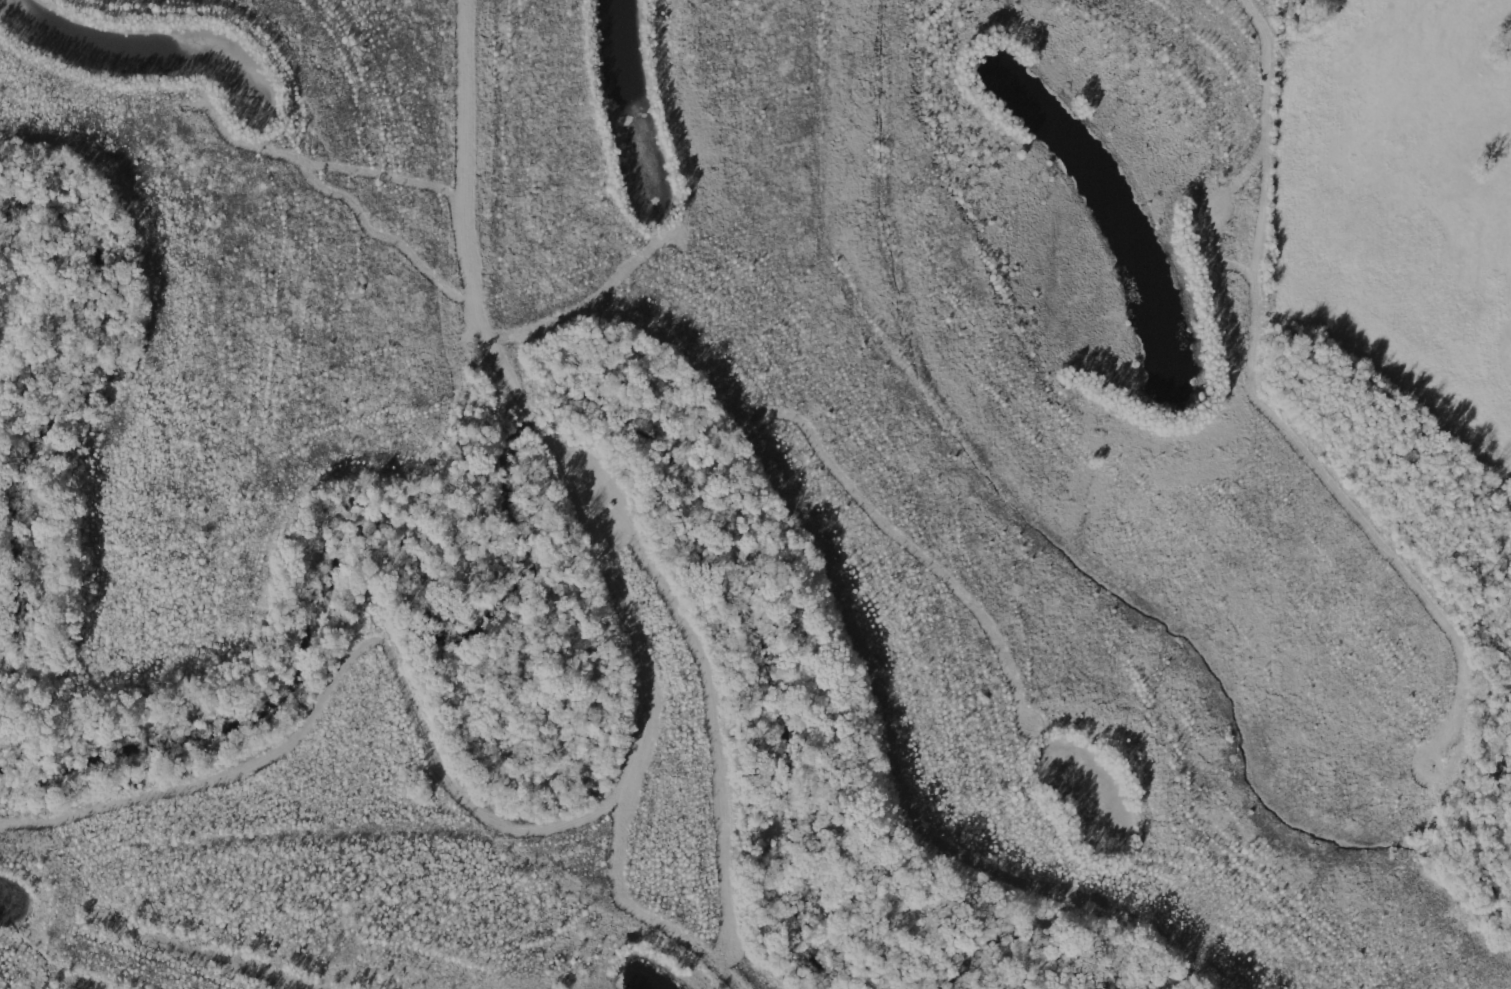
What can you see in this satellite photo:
road: (481, 212)
road: (644, 621)

